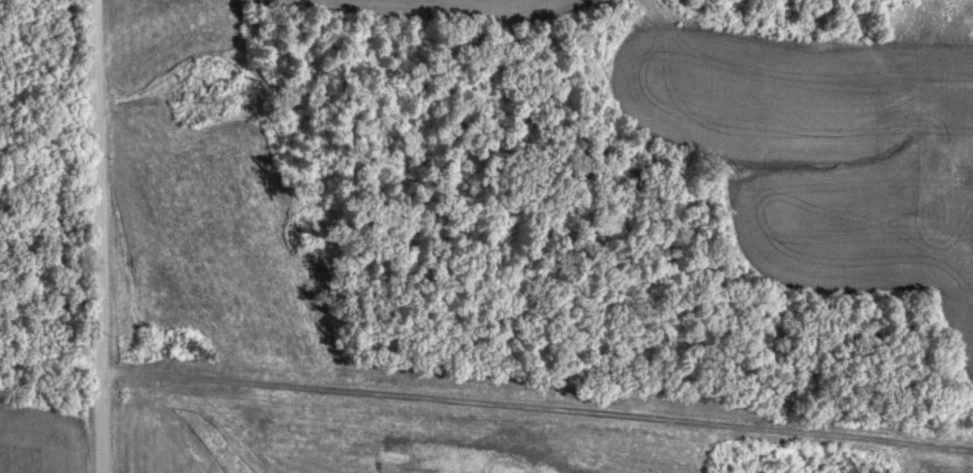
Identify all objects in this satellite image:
road: (450, 11)
road: (795, 36)
road: (101, 236)

